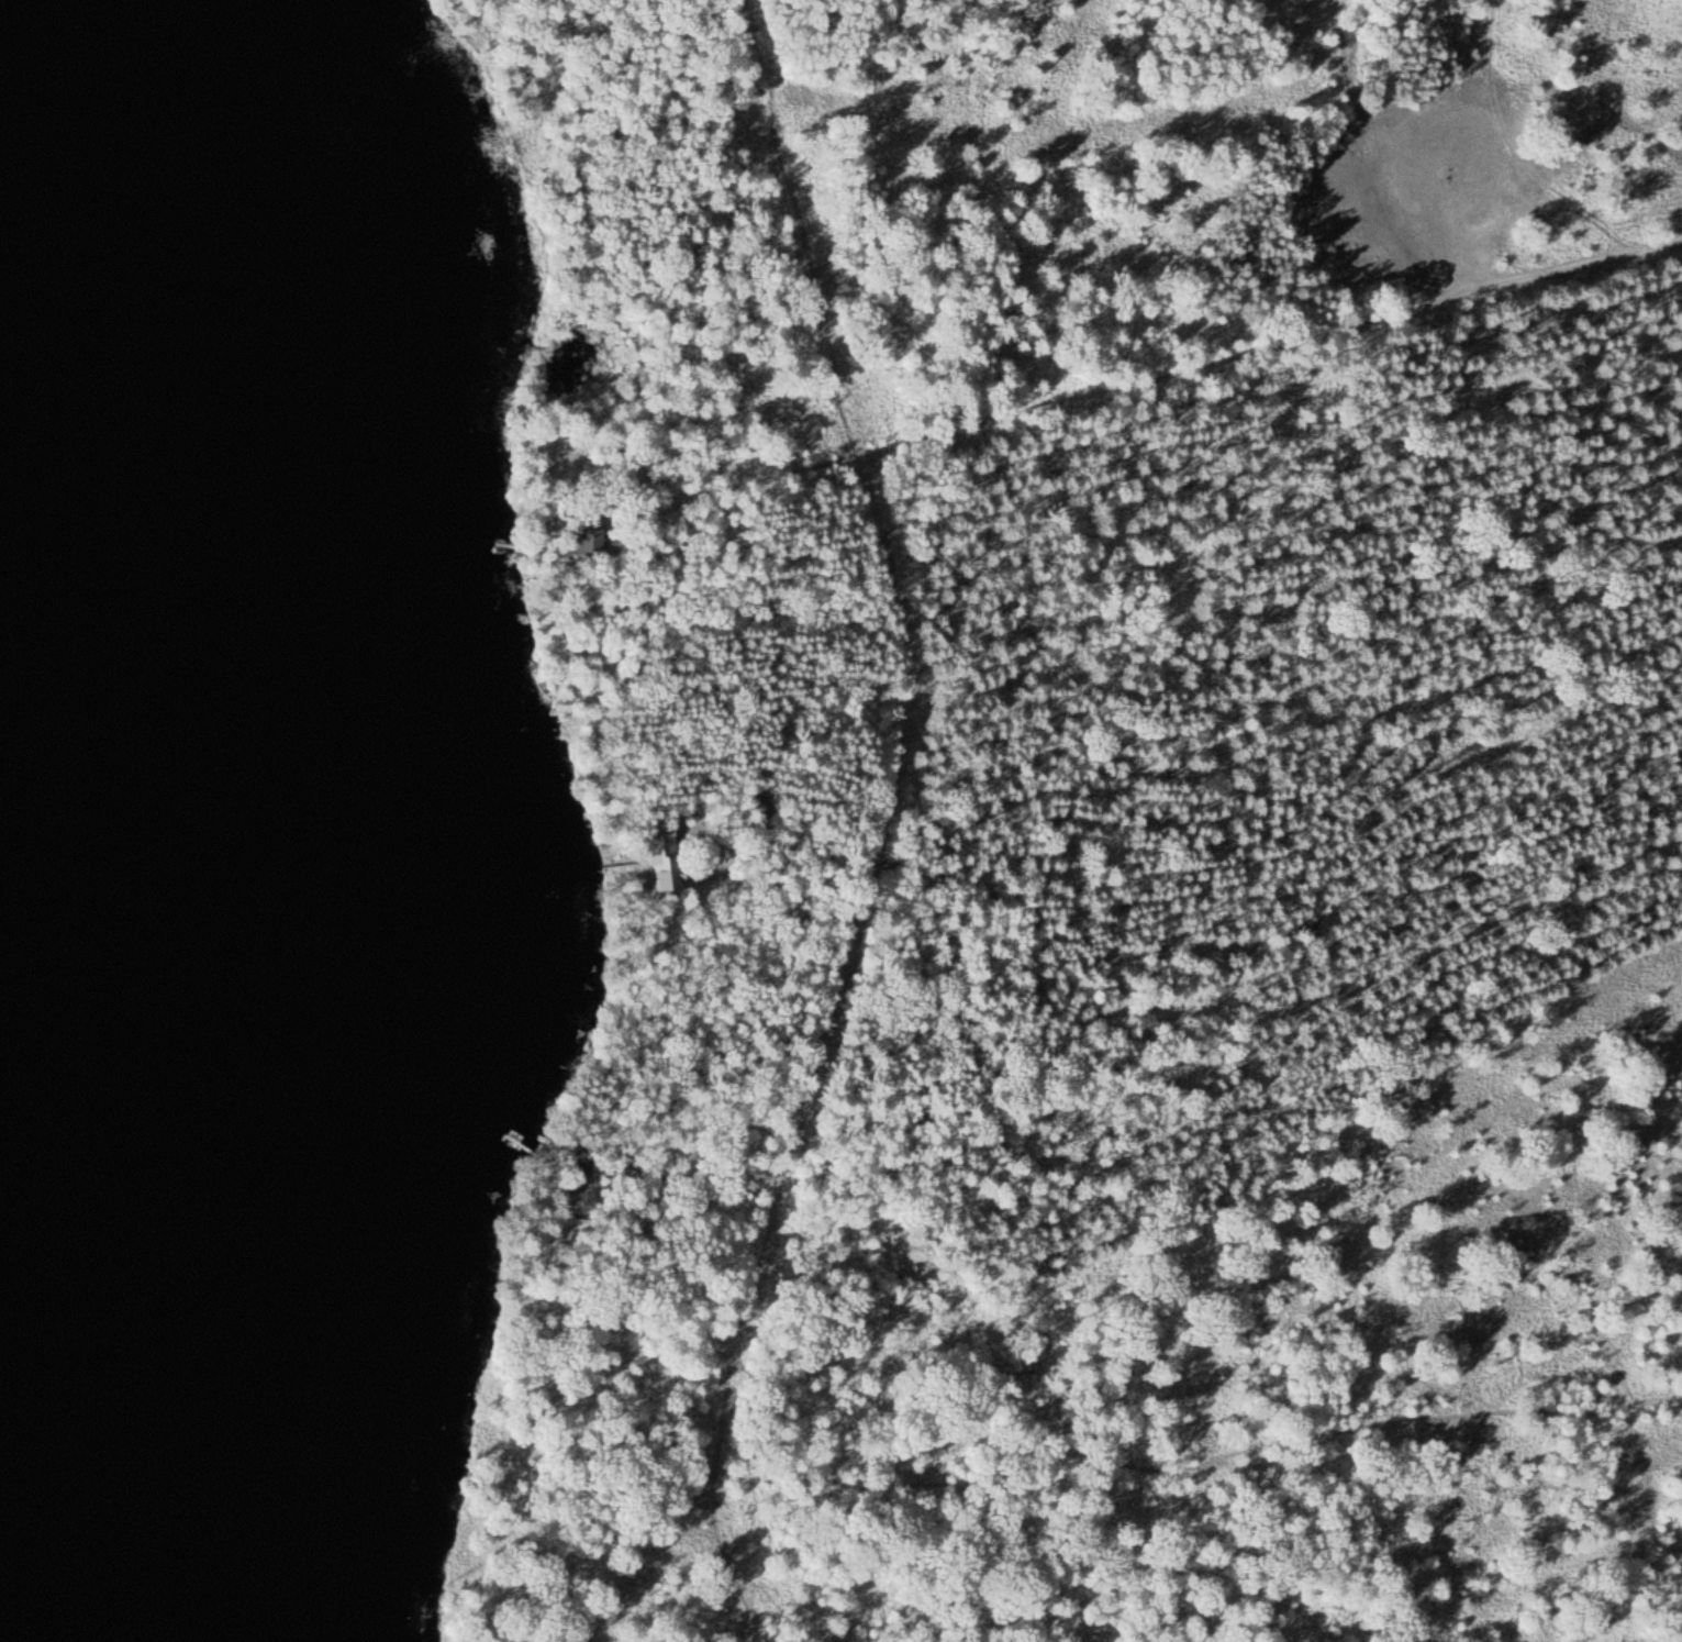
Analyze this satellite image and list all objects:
road: (1573, 85)
road: (1162, 366)
building: (586, 541)
building: (661, 853)
building: (573, 1175)
road: (1104, 1462)

